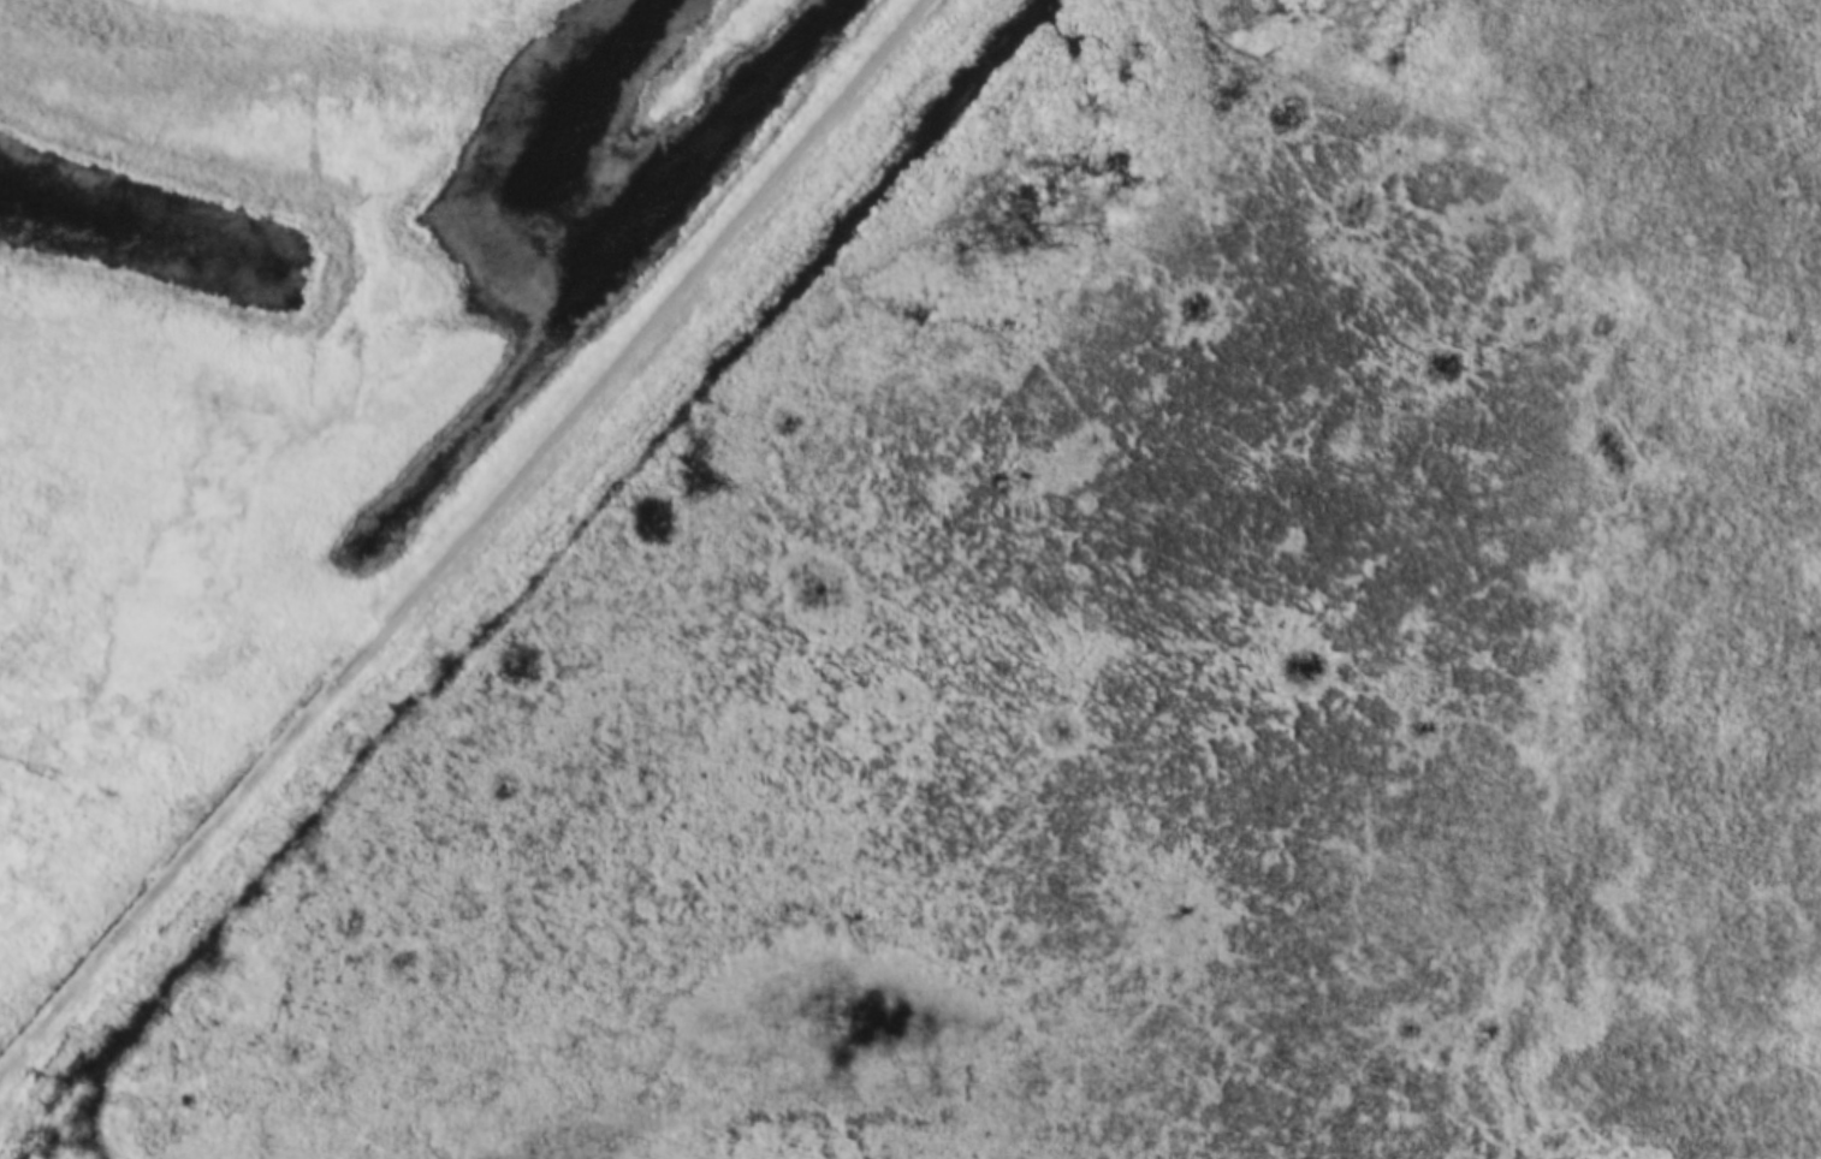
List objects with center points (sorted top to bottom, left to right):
road: (463, 533)
dam: (482, 558)

